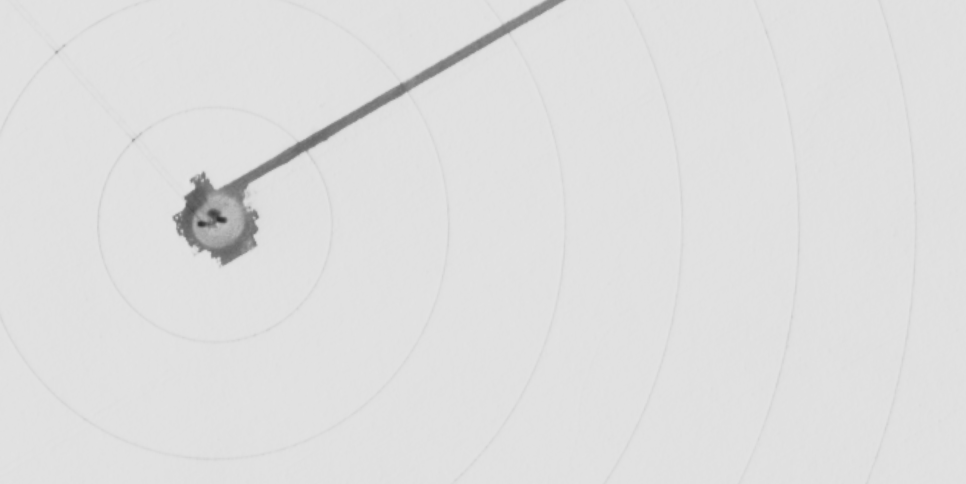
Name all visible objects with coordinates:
crop: (483, 242)

